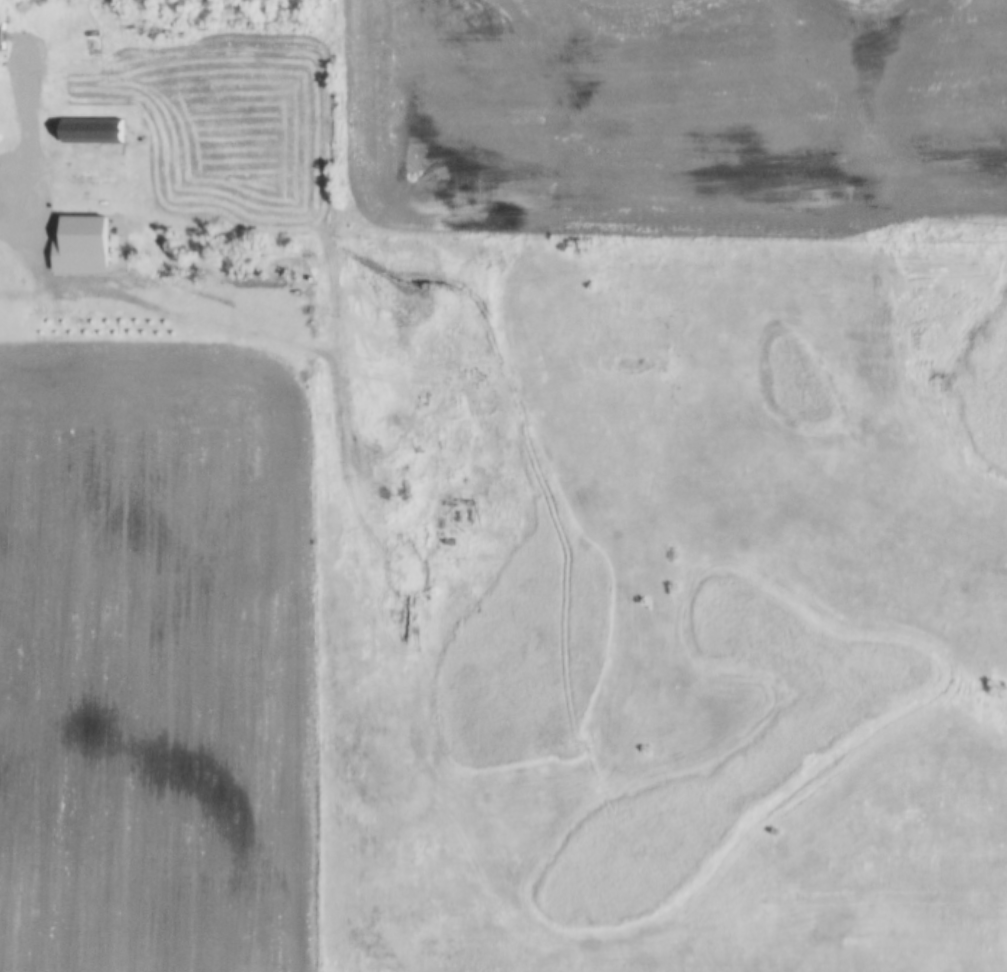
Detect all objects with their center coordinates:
building: (1, 36)
building: (93, 131)
road: (32, 145)
building: (78, 235)
road: (162, 314)
building: (50, 326)
building: (72, 326)
building: (93, 326)
building: (115, 326)

